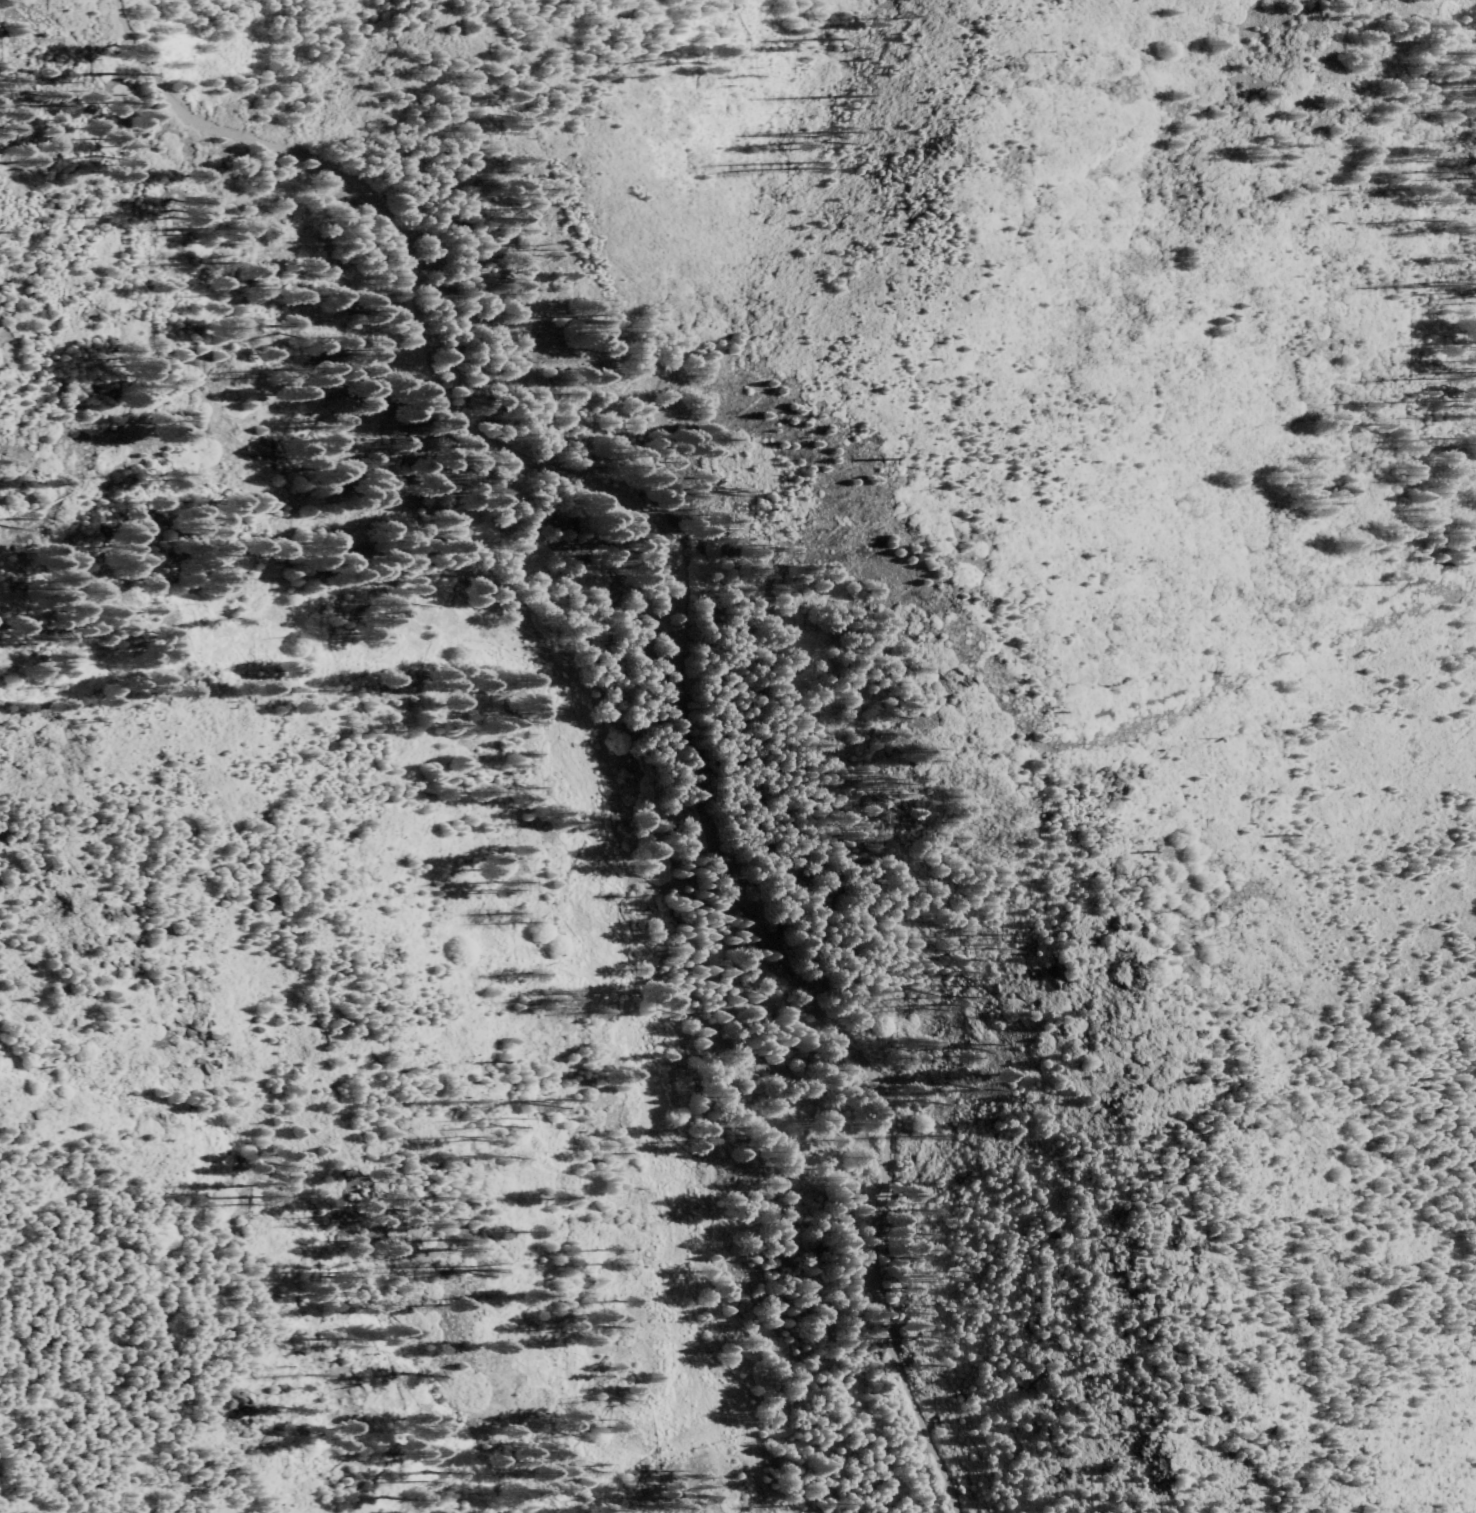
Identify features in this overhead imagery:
road: (201, 373)
road: (675, 642)

